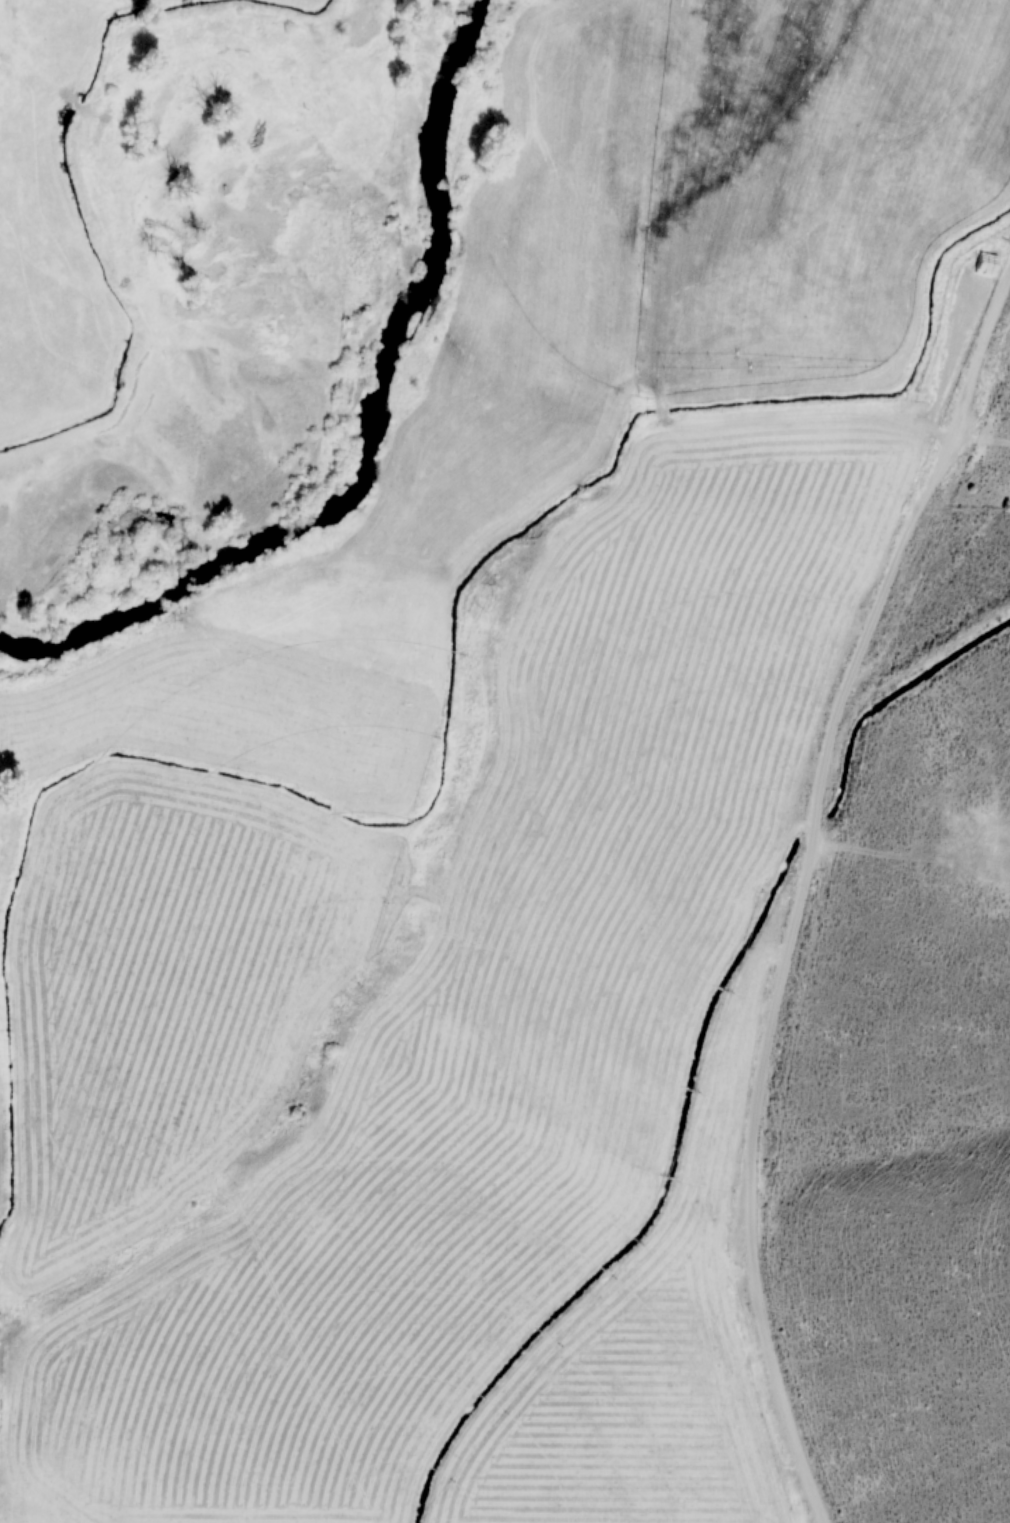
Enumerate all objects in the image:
river: (364, 431)
road: (799, 895)

